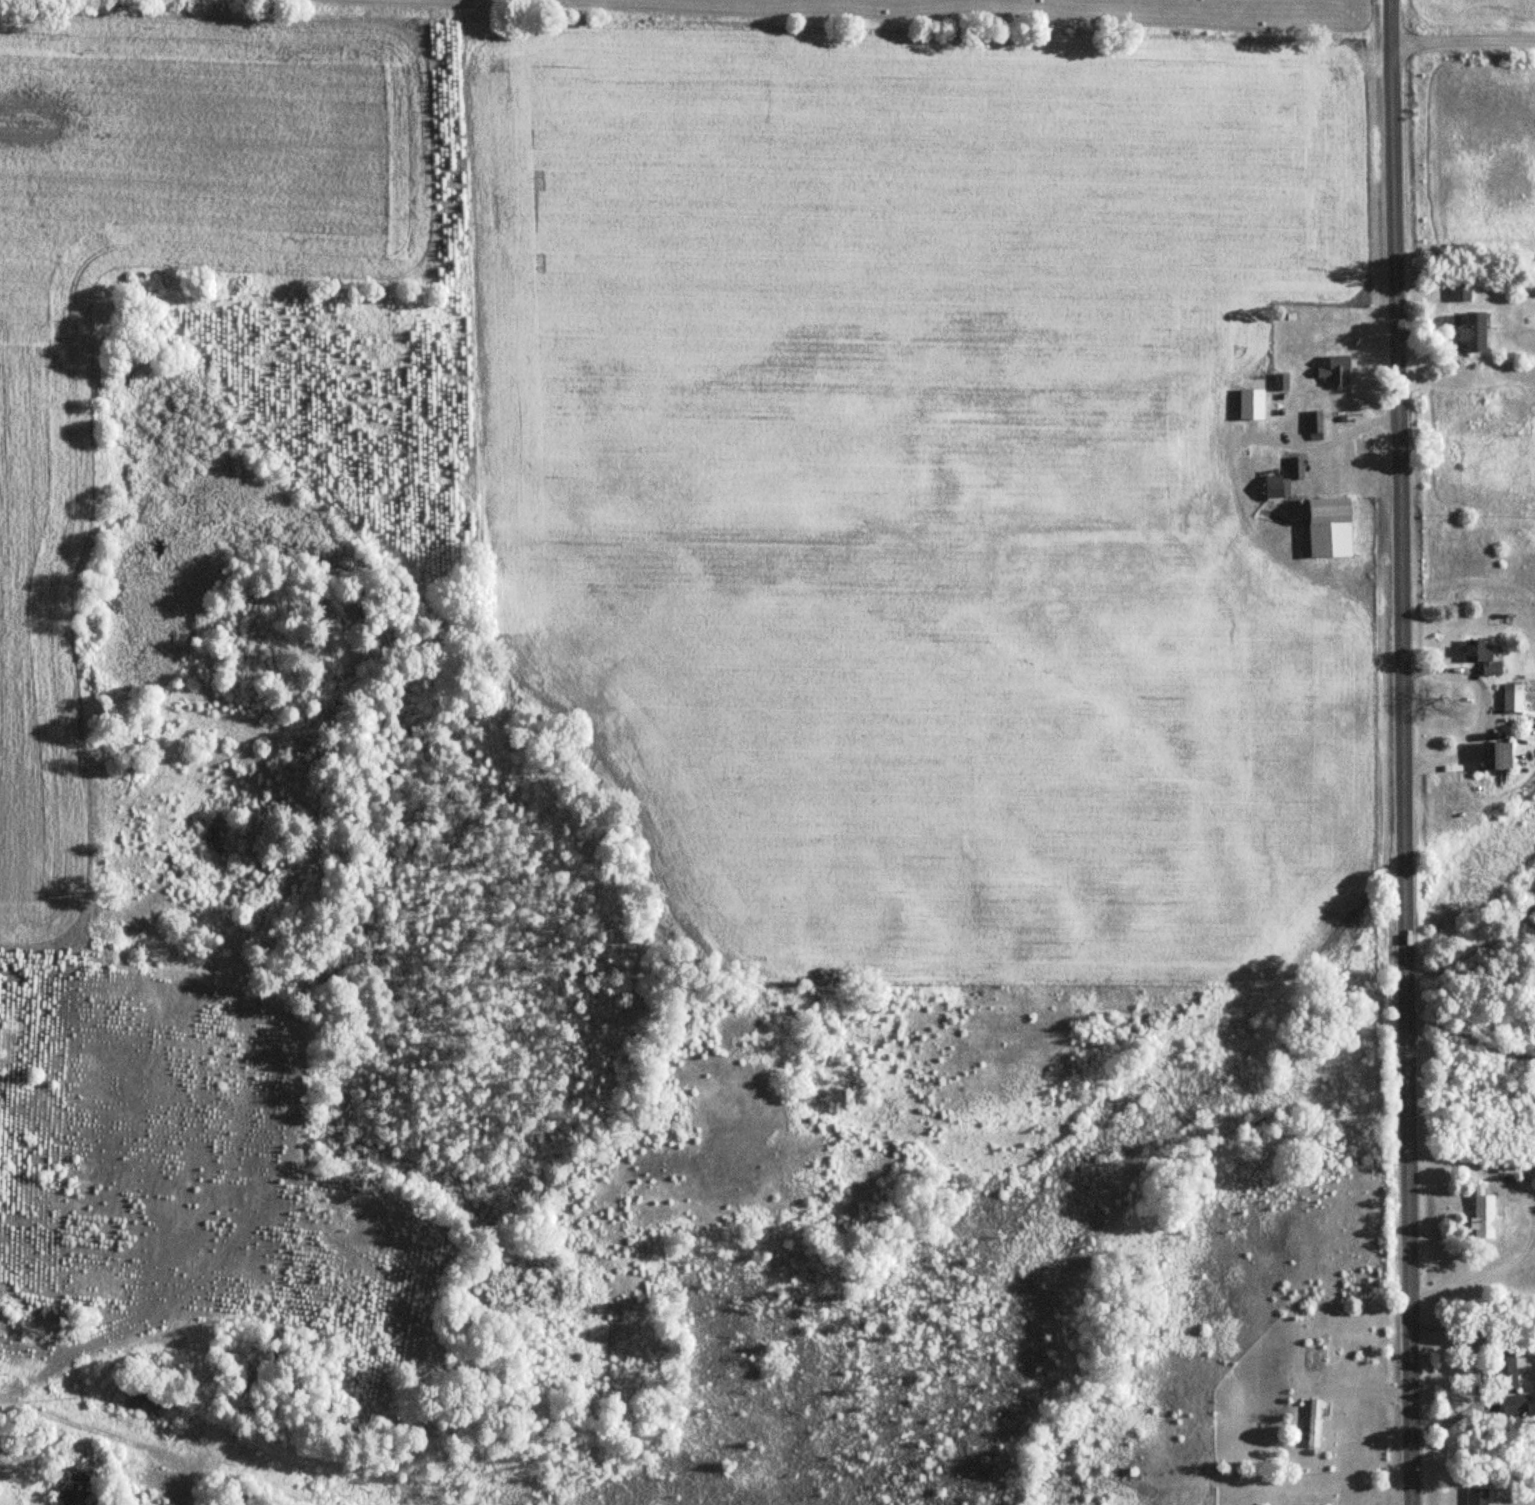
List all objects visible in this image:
road: (1462, 47)
building: (1459, 291)
building: (1473, 331)
building: (1331, 370)
building: (1279, 381)
building: (1250, 403)
building: (1313, 426)
building: (1363, 448)
building: (1295, 468)
building: (1276, 489)
building: (1329, 527)
building: (1481, 655)
building: (1512, 697)
road: (1401, 752)
building: (1496, 754)
building: (1484, 1215)
building: (1504, 1370)
building: (1511, 1406)
building: (1312, 1423)
building: (1476, 1497)

